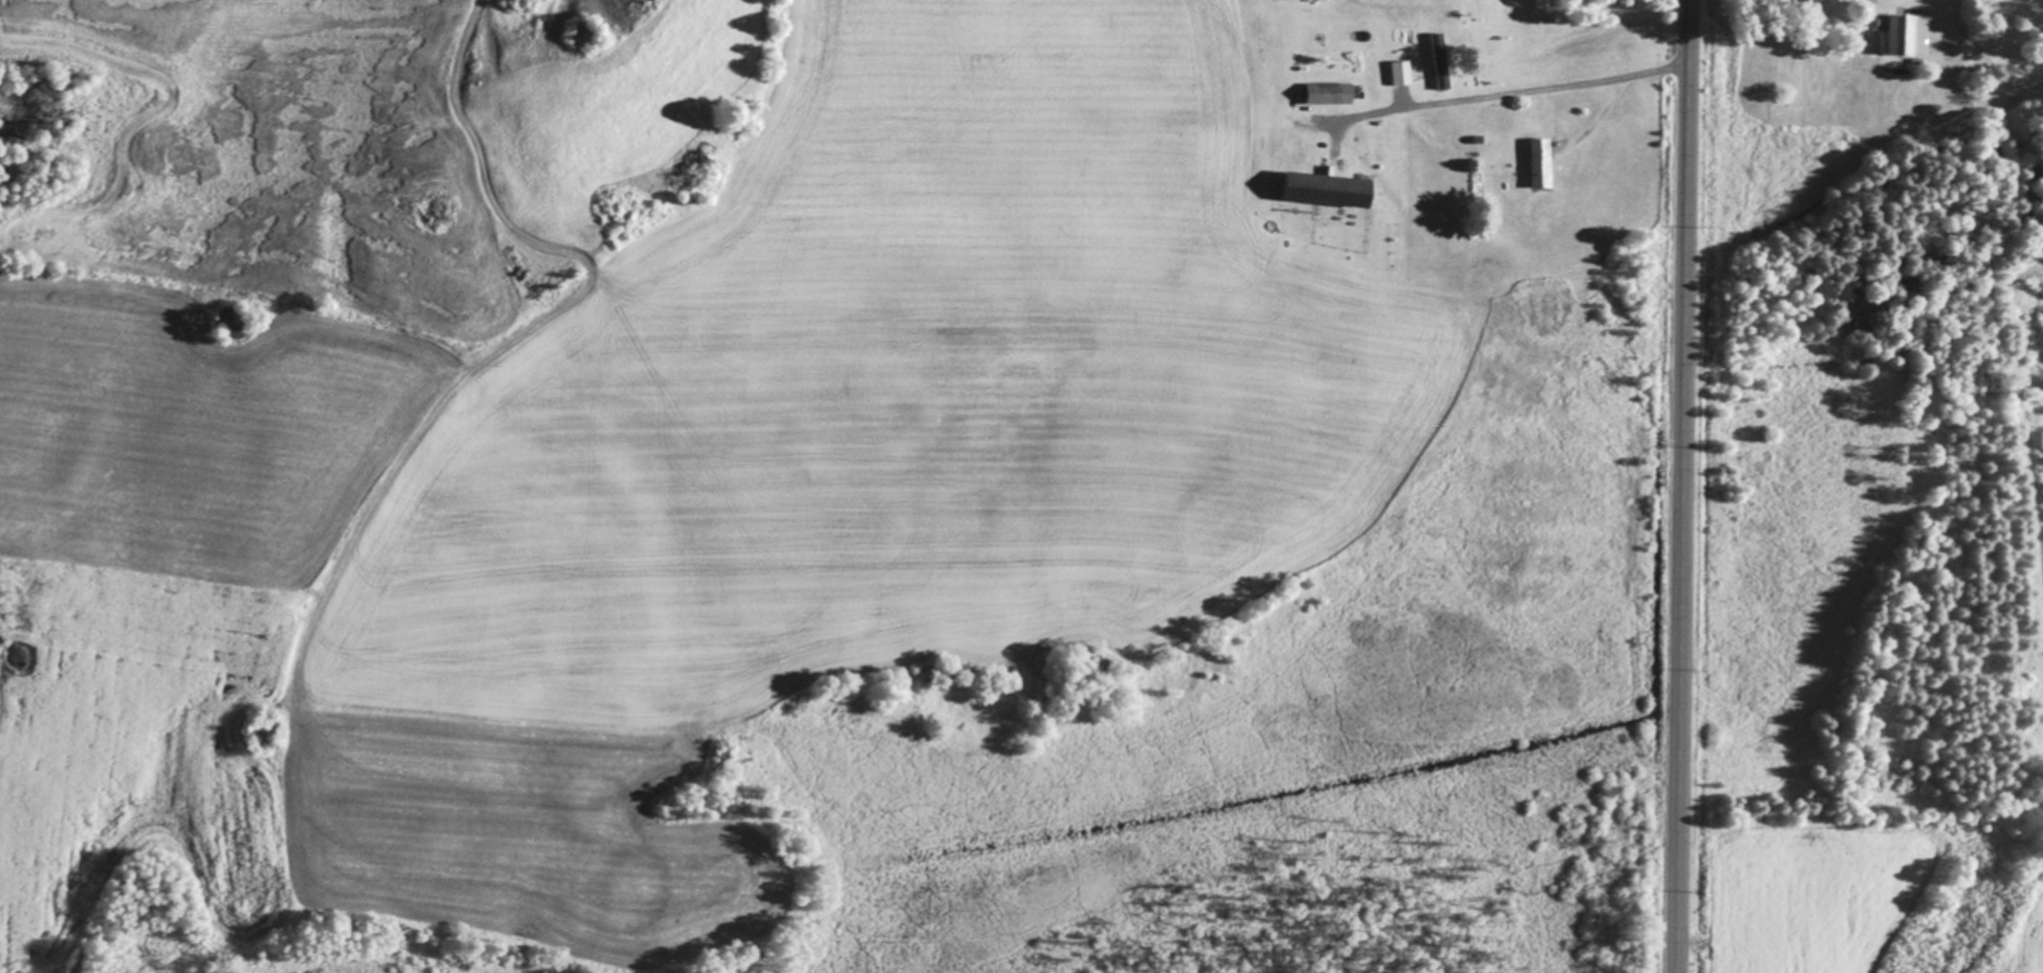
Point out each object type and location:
building: (1904, 35)
building: (1439, 63)
building: (1400, 74)
road: (1514, 92)
building: (1329, 94)
building: (1541, 164)
building: (1326, 190)
road: (1681, 486)

